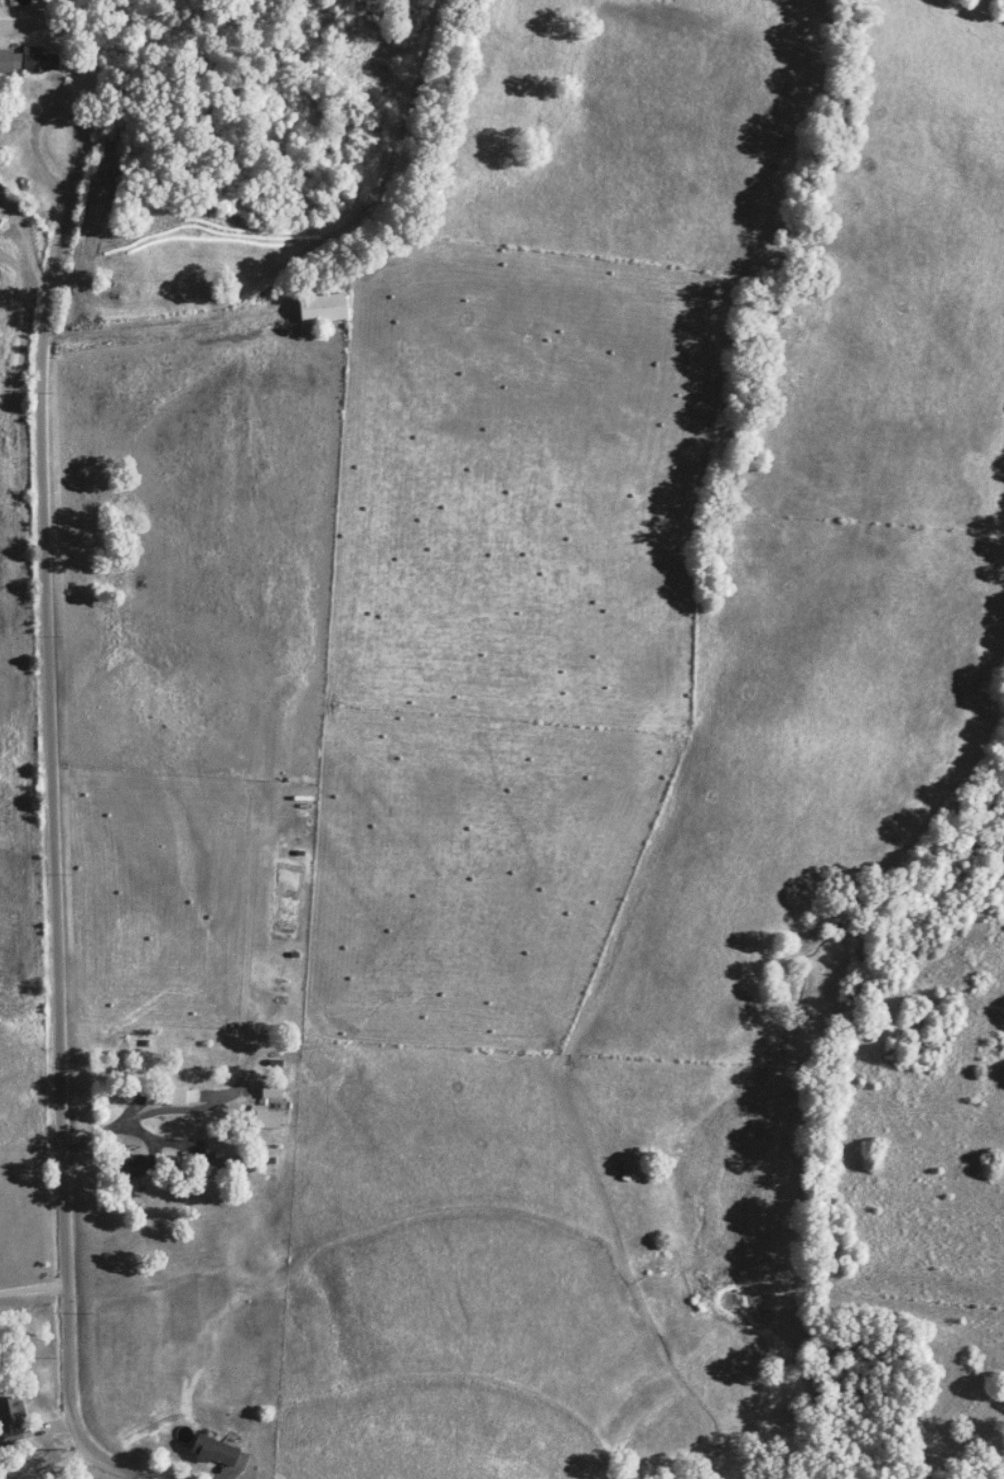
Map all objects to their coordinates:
building: (30, 62)
road: (31, 131)
building: (326, 308)
road: (160, 328)
road: (46, 728)
building: (119, 1076)
building: (179, 1097)
road: (119, 1119)
road: (33, 1291)
building: (12, 1421)
building: (215, 1451)
road: (57, 1463)

